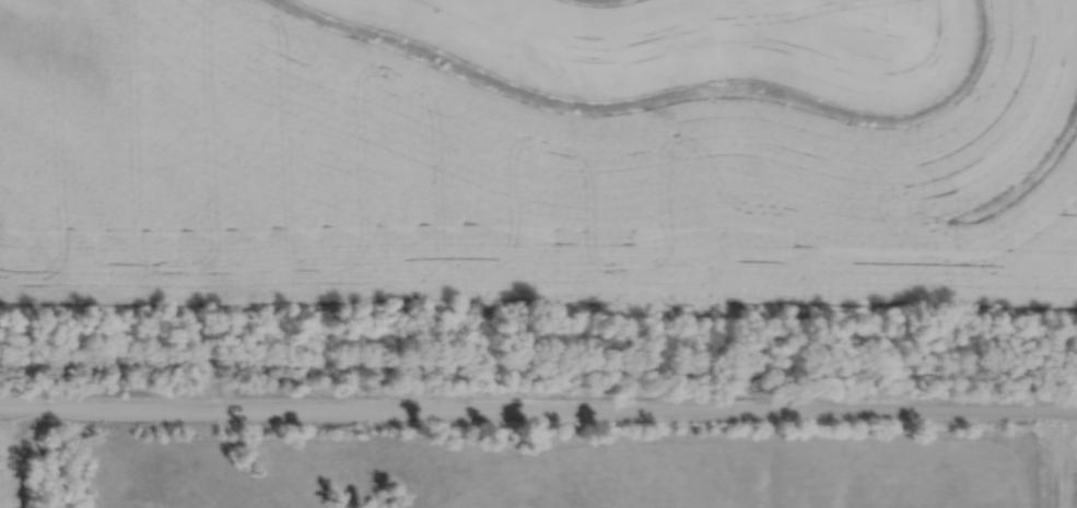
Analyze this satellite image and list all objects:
road: (538, 410)
road: (1058, 464)

